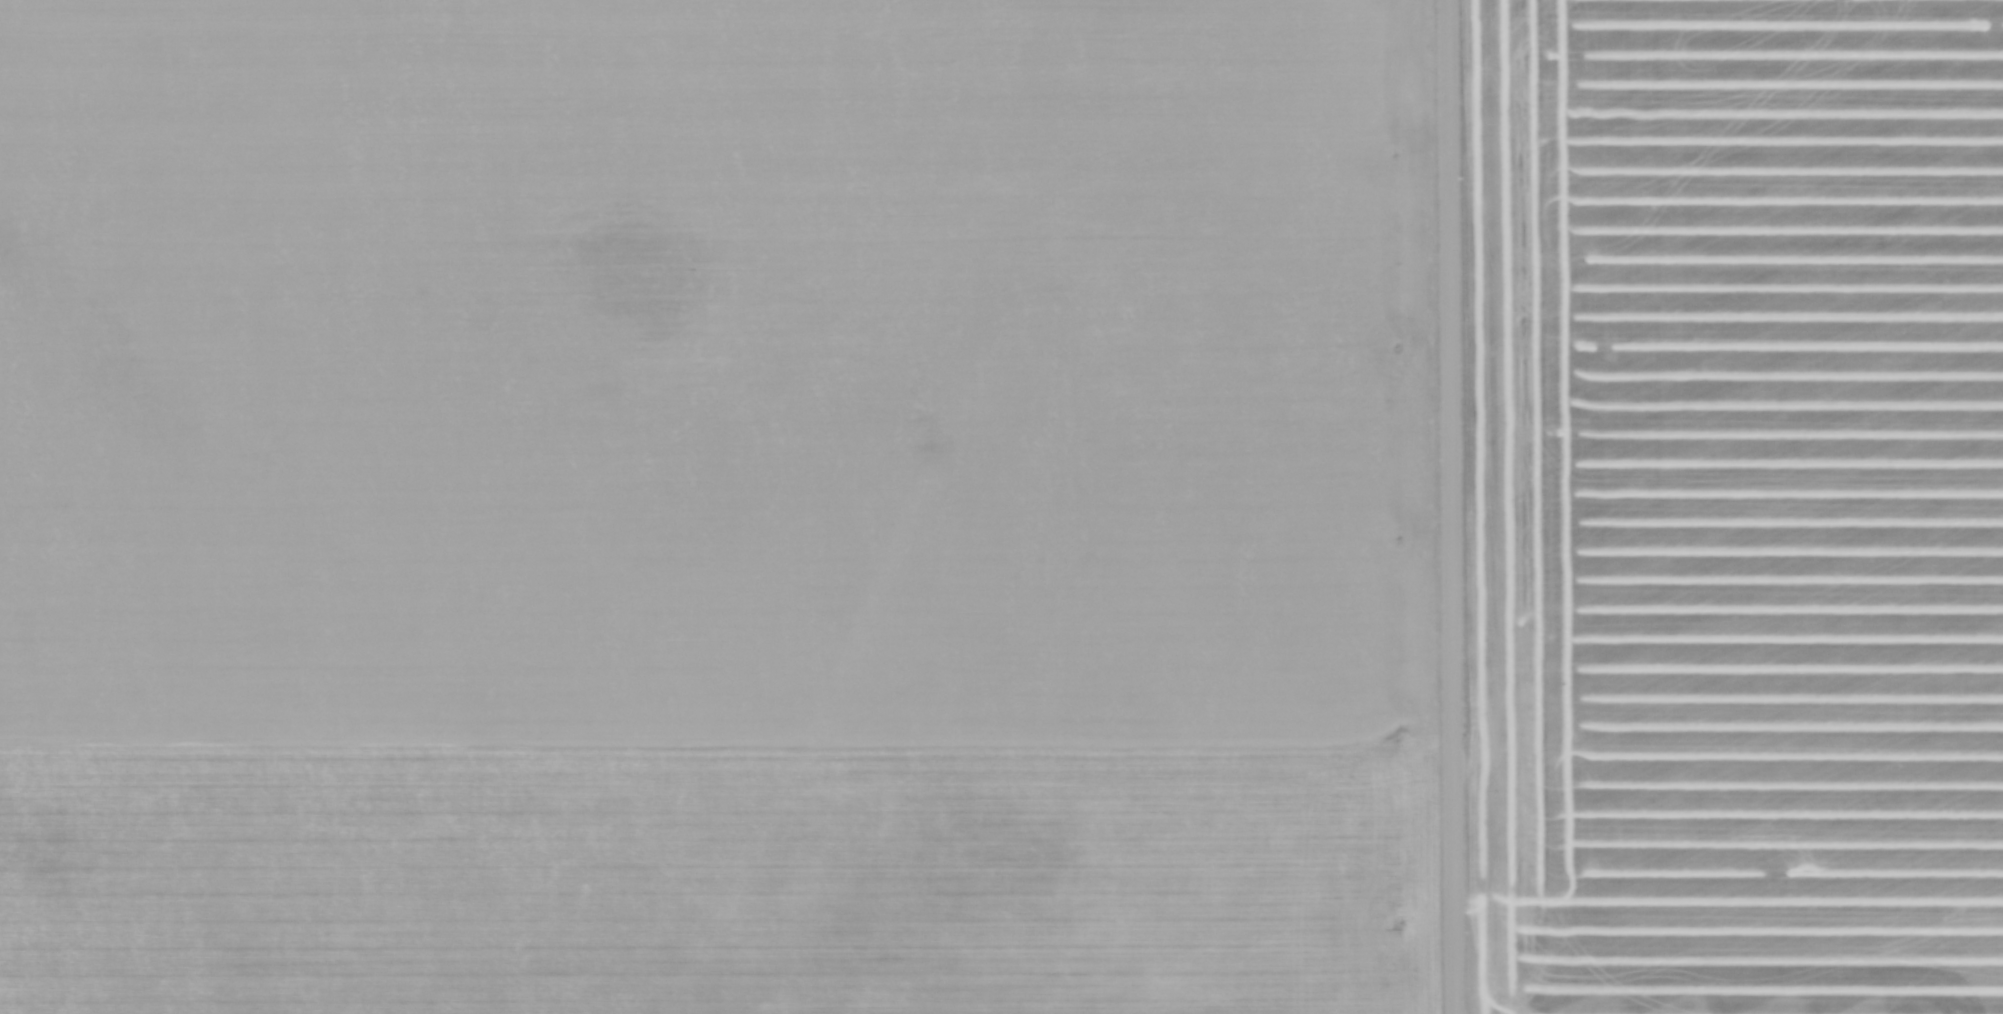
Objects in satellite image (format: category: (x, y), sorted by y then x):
crop: (1738, 506)
crop: (717, 507)
road: (1450, 507)

